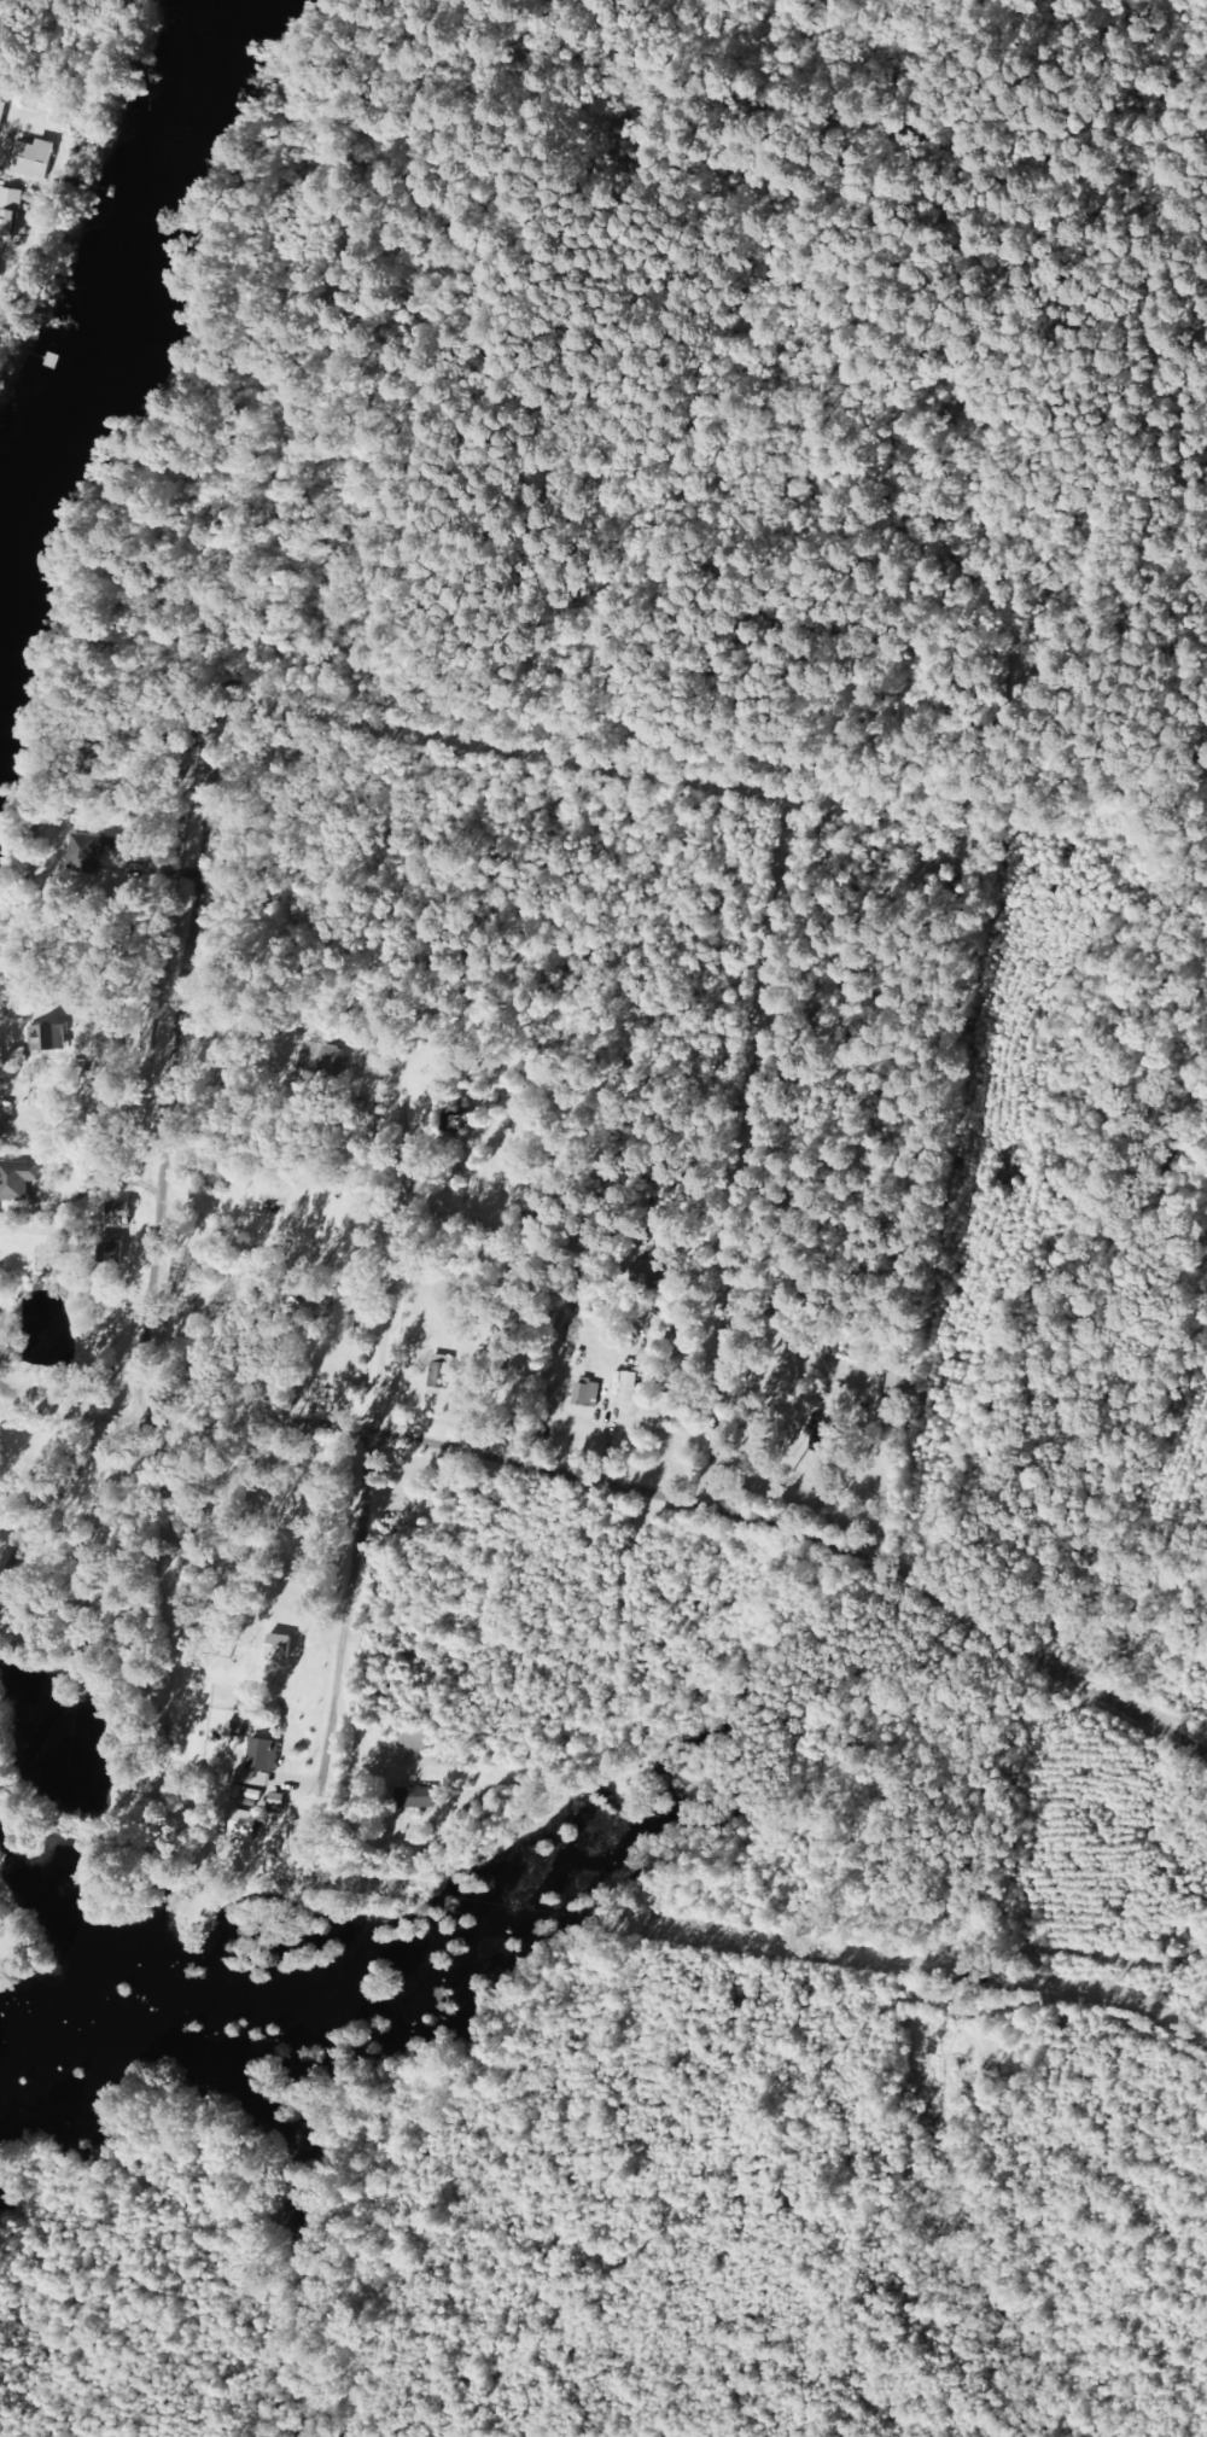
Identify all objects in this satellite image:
road: (805, 75)
road: (678, 94)
building: (33, 159)
building: (10, 210)
river: (118, 301)
road: (999, 809)
building: (57, 1037)
building: (321, 1057)
building: (24, 1179)
building: (127, 1213)
building: (58, 1236)
building: (447, 1372)
building: (593, 1393)
road: (774, 1534)
building: (416, 1741)
building: (424, 1797)
building: (284, 1803)

